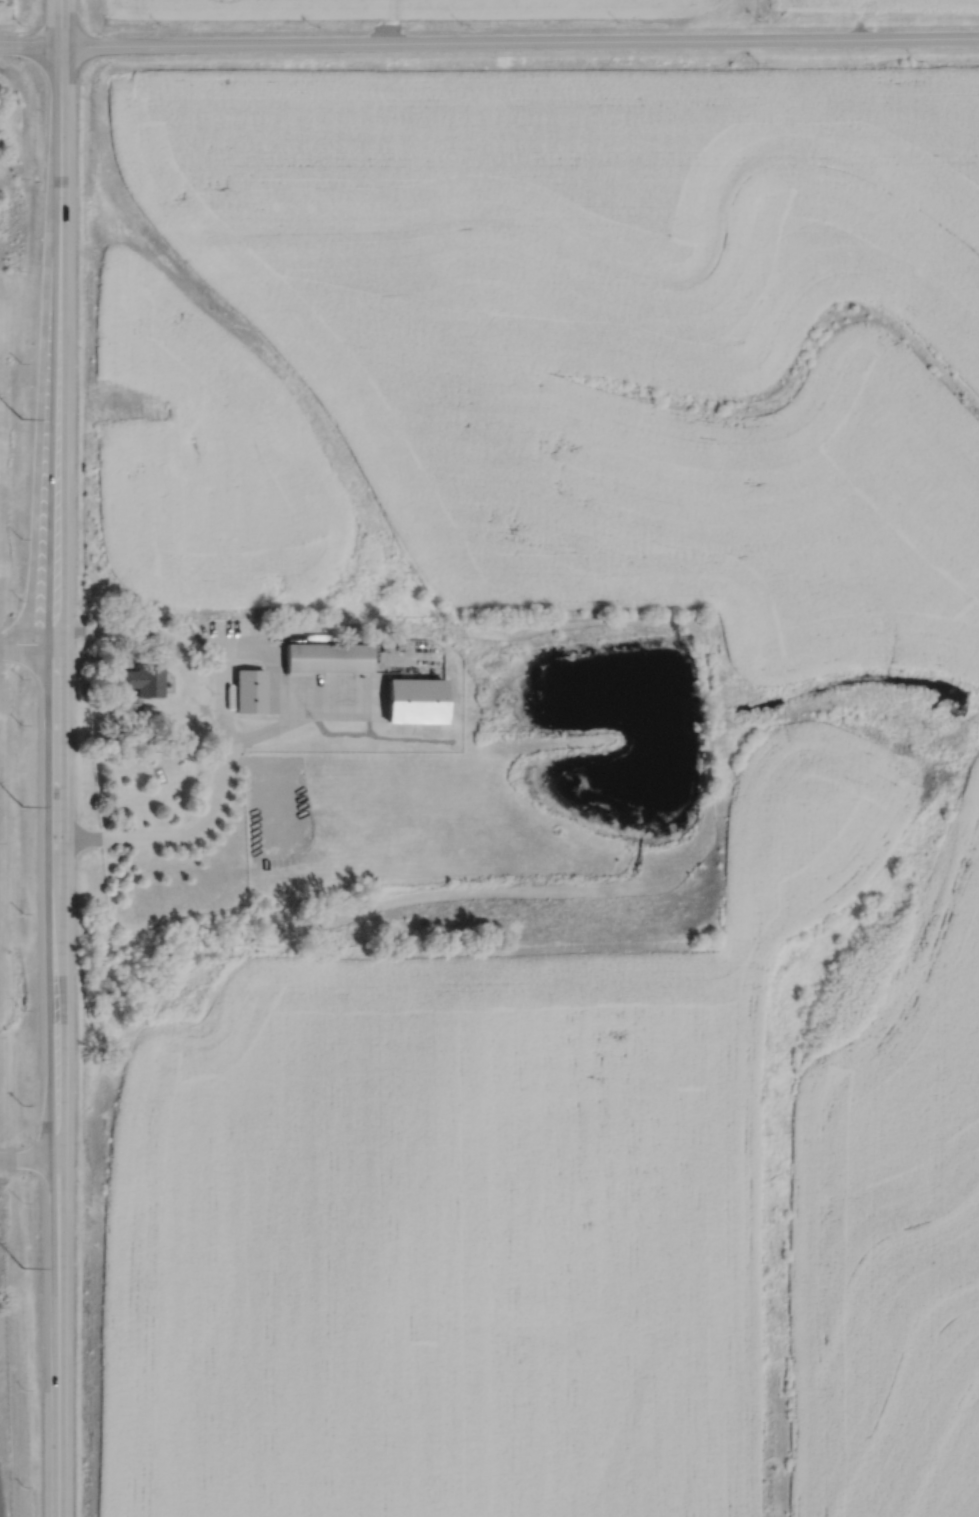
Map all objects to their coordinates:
road: (489, 42)
power tower: (19, 418)
road: (55, 578)
road: (27, 642)
building: (325, 657)
building: (143, 670)
building: (248, 686)
road: (220, 789)
power tower: (20, 805)
road: (28, 1157)
power tower: (22, 1267)
road: (57, 1336)

